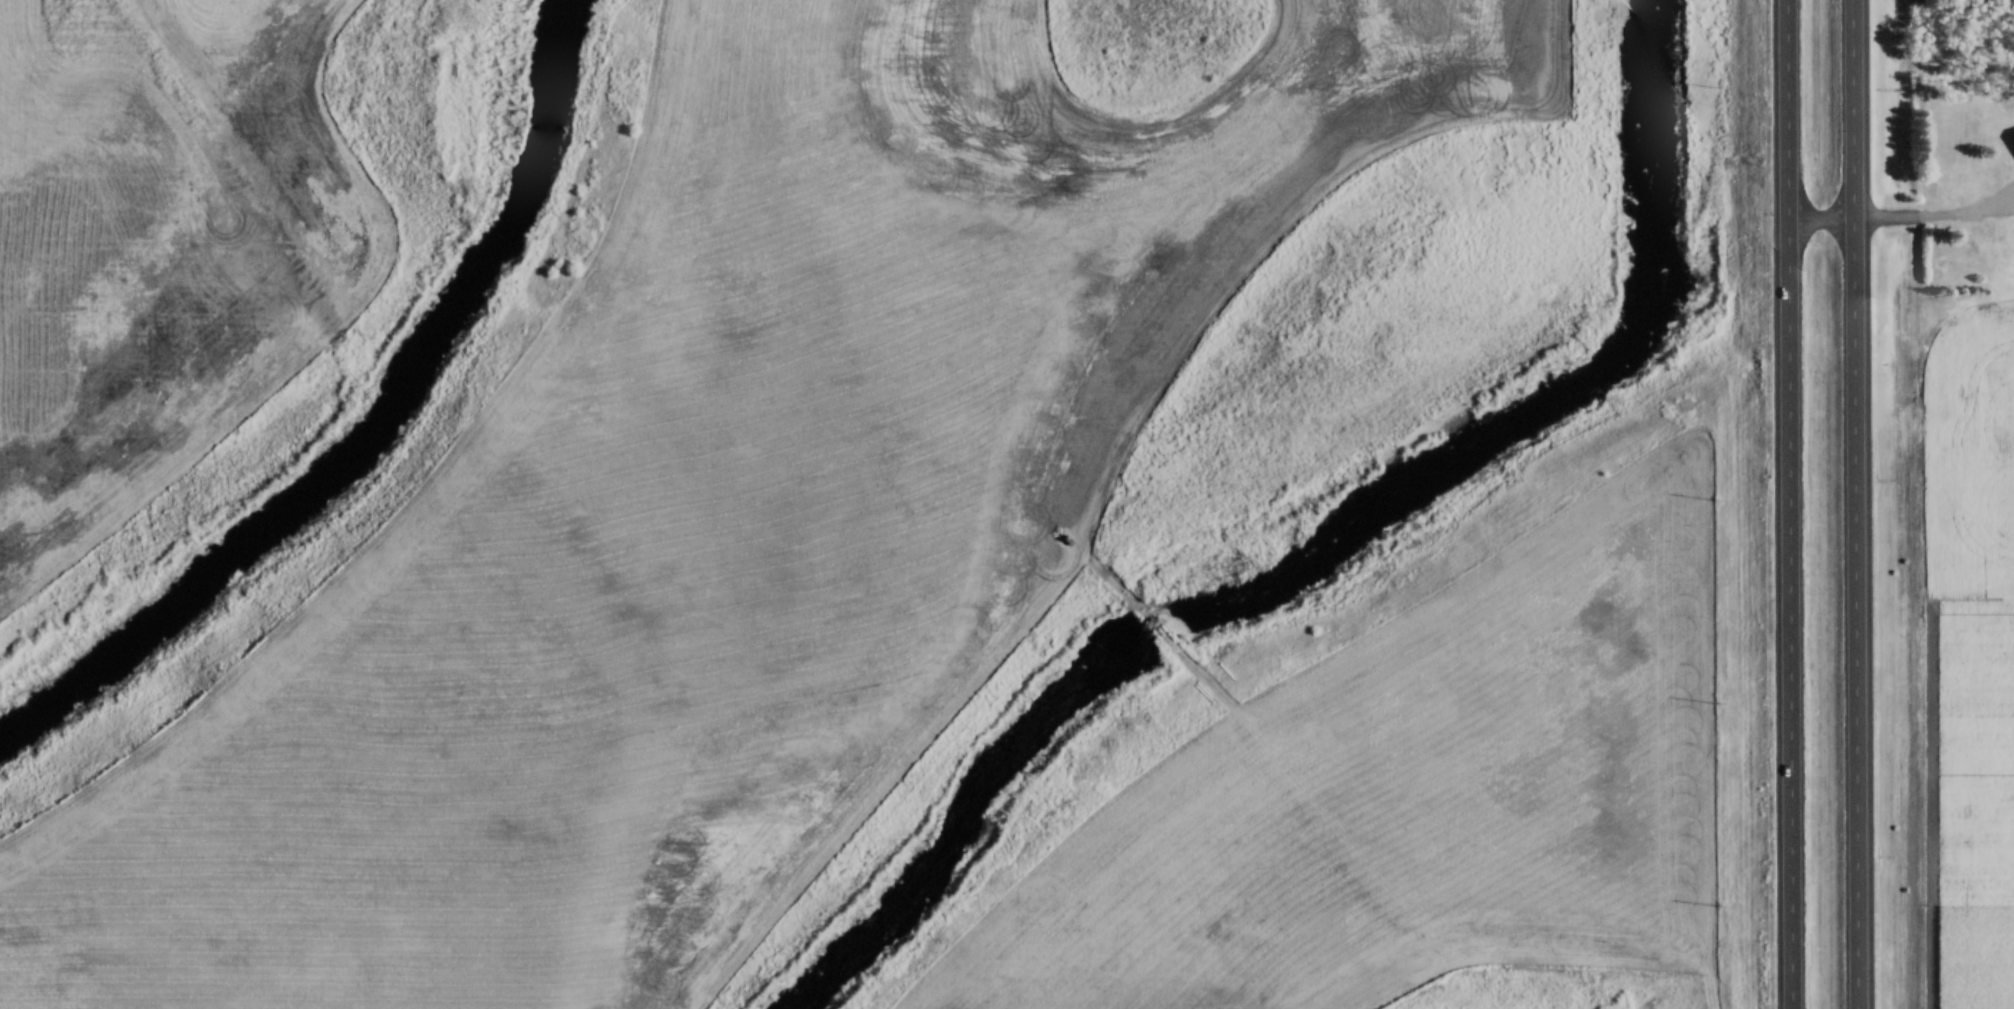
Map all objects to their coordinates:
building: (2009, 122)
building: (1962, 187)
road: (1933, 201)
road: (1781, 504)
road: (1854, 504)

